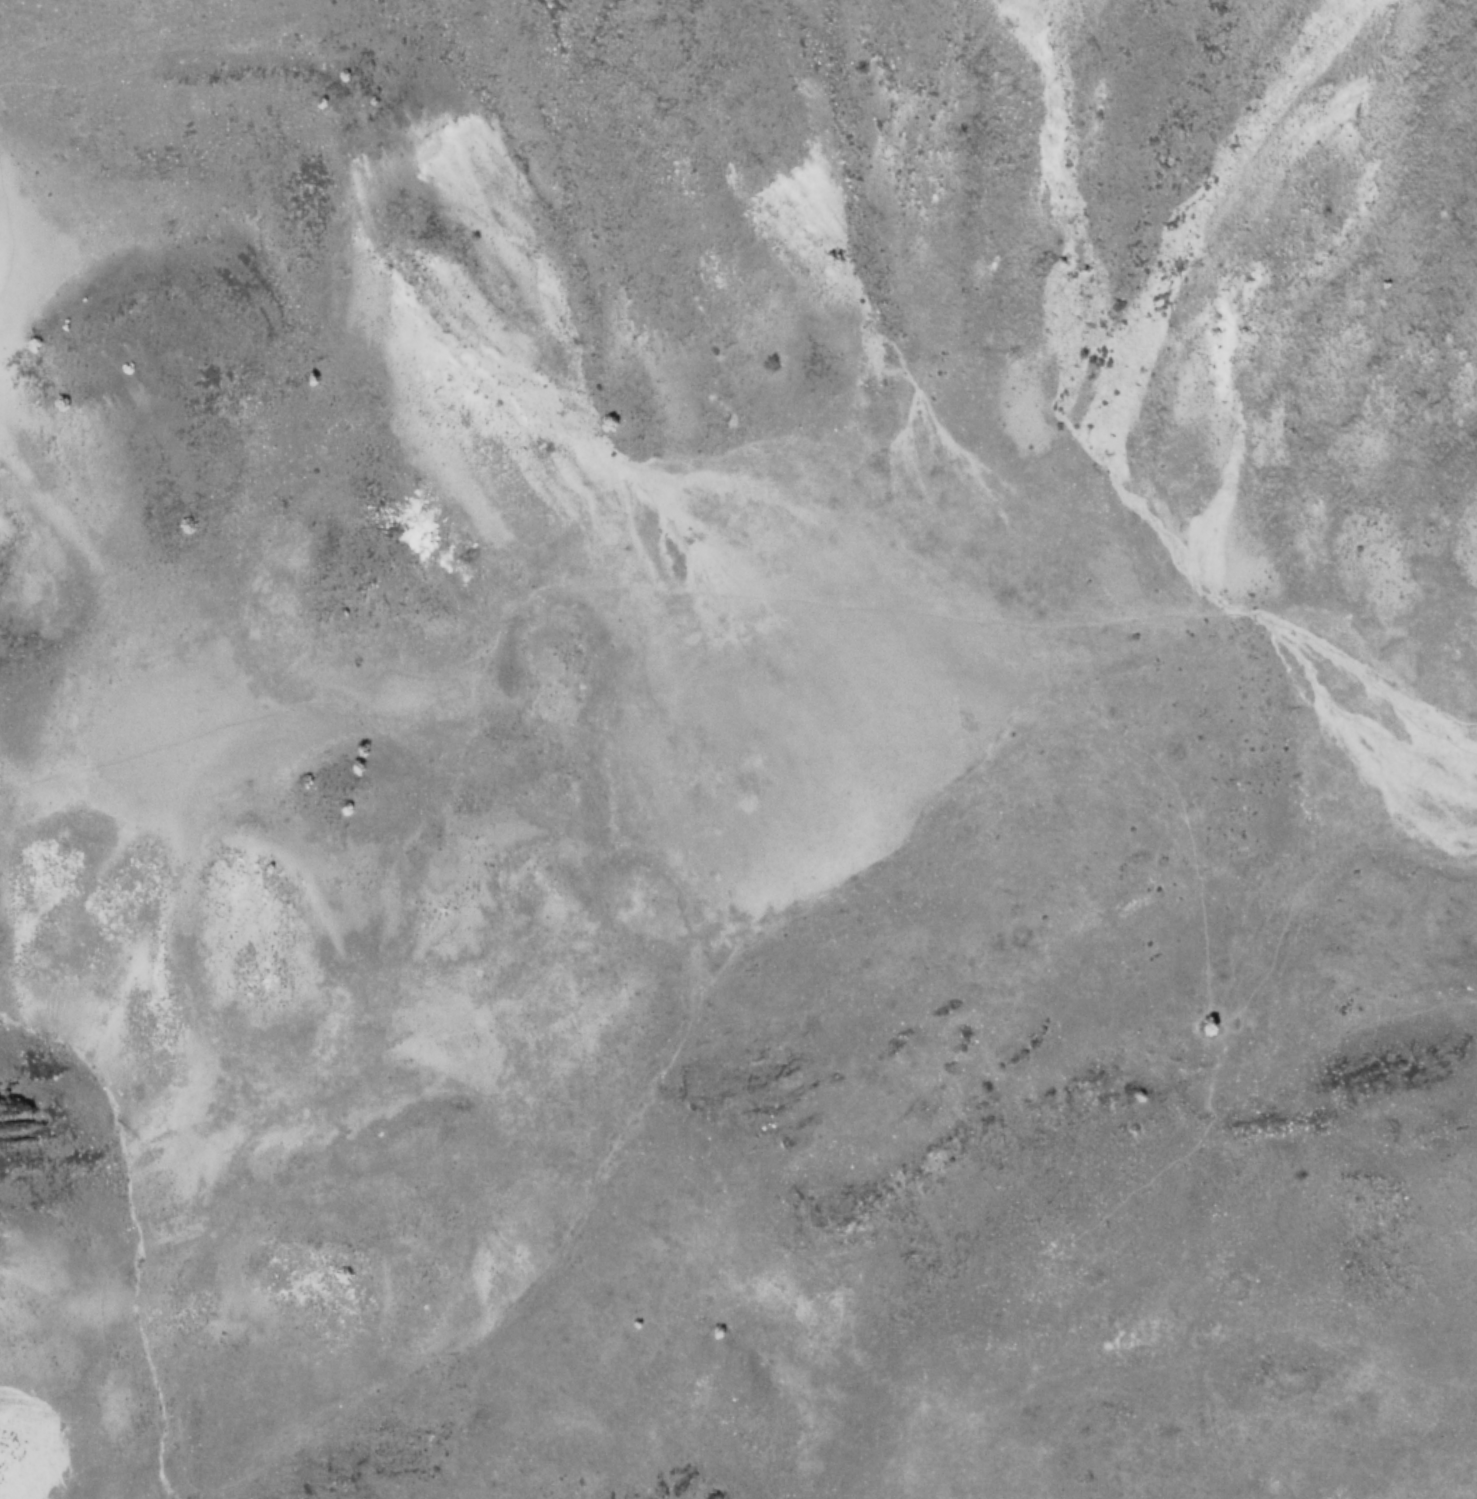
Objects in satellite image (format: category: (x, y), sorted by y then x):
road: (166, 65)
road: (7, 235)
road: (718, 595)

